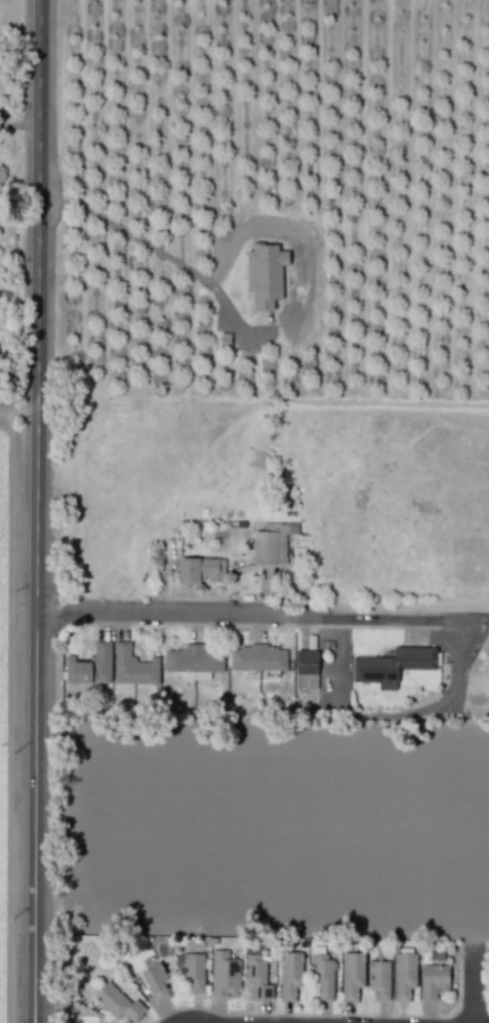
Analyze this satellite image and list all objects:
road: (20, 125)
building: (265, 274)
road: (259, 330)
road: (35, 511)
building: (271, 543)
building: (201, 570)
road: (160, 611)
road: (363, 619)
building: (257, 658)
building: (193, 659)
building: (392, 665)
building: (90, 666)
building: (133, 666)
building: (306, 669)
road: (395, 715)
building: (436, 954)
building: (192, 971)
building: (224, 974)
building: (290, 975)
building: (322, 975)
building: (351, 975)
building: (404, 976)
building: (256, 977)
building: (379, 979)
building: (433, 980)
building: (155, 982)
road: (471, 984)
building: (119, 1003)

